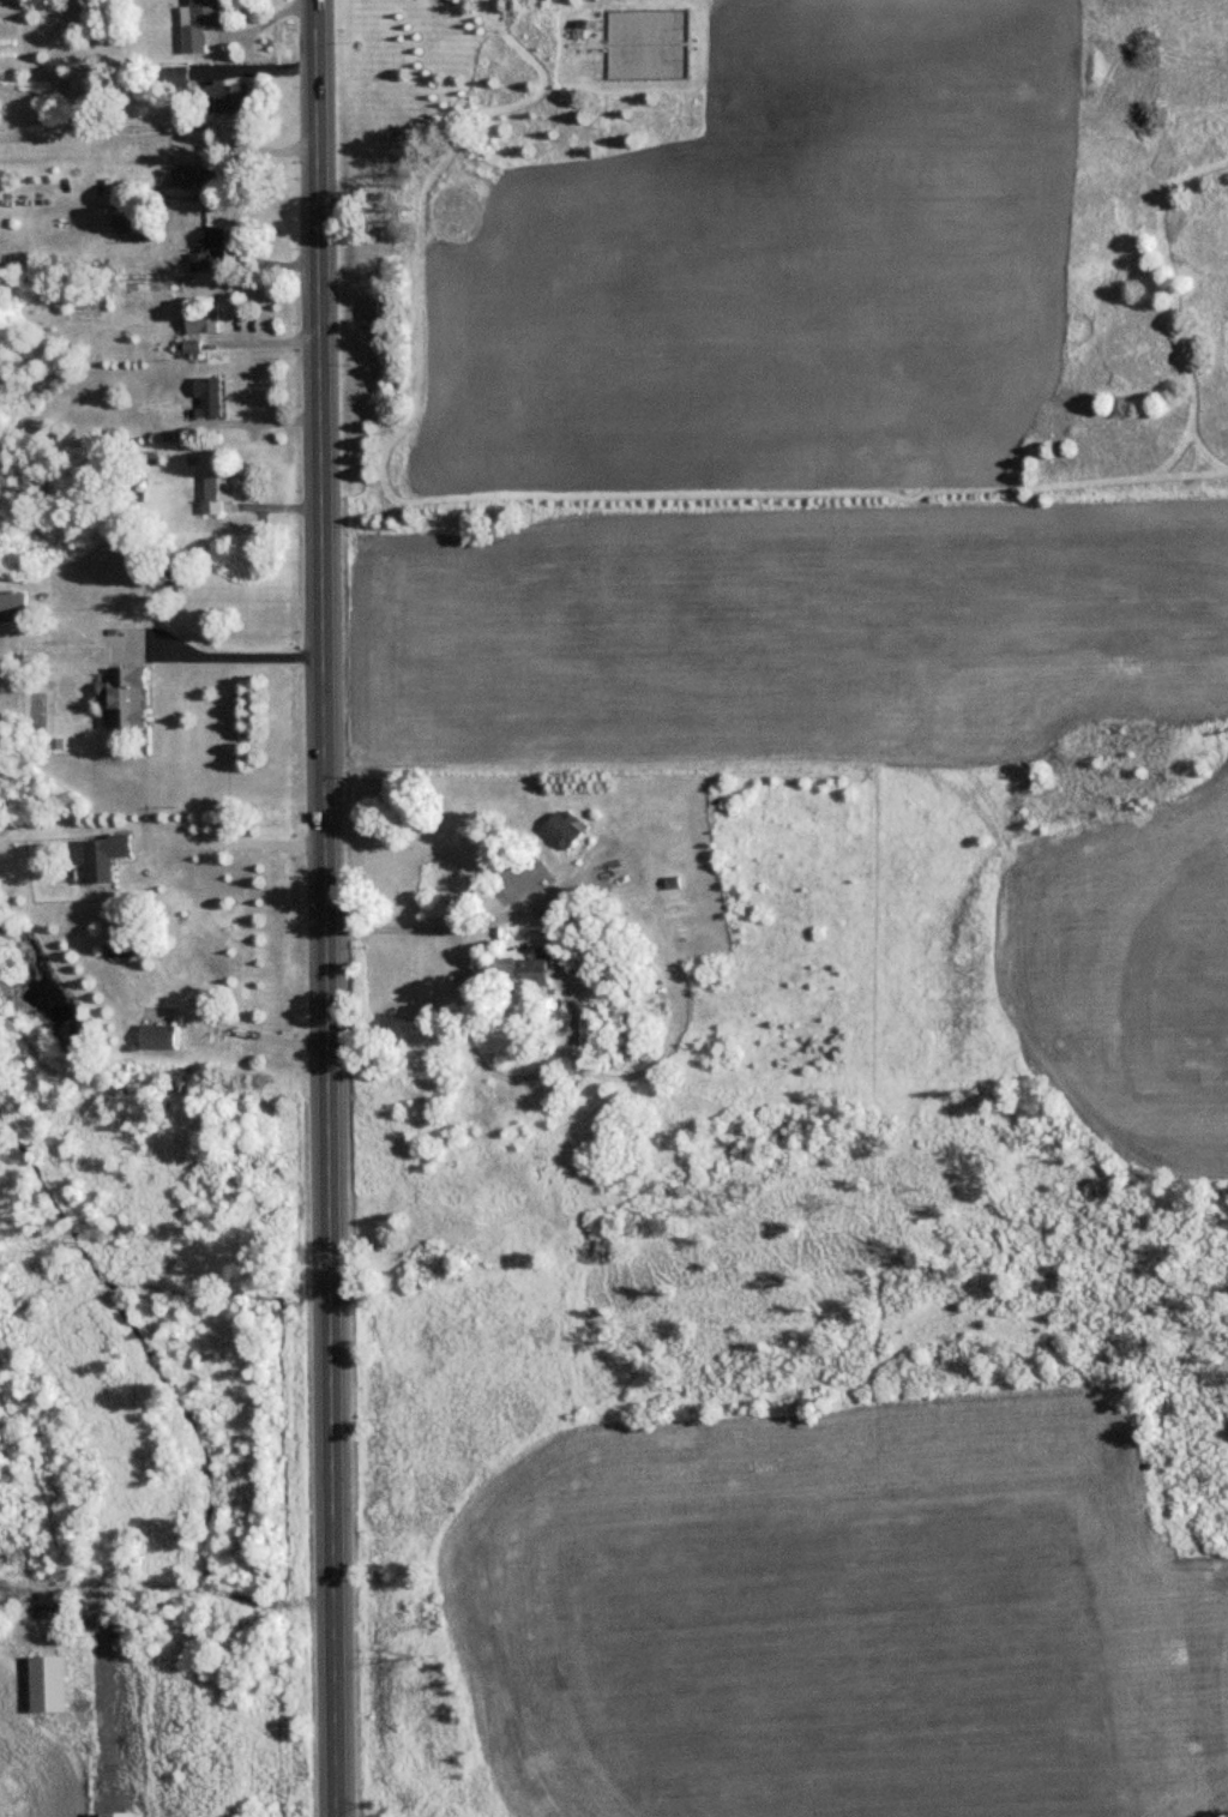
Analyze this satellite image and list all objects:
building: (195, 23)
building: (78, 78)
building: (227, 97)
building: (200, 173)
building: (124, 222)
building: (205, 247)
park: (778, 252)
building: (200, 318)
building: (205, 393)
building: (213, 488)
building: (12, 606)
road: (237, 661)
building: (126, 696)
building: (561, 828)
building: (102, 855)
road: (323, 908)
road: (474, 922)
building: (514, 974)
building: (153, 1035)
road: (106, 1588)
building: (4, 1607)

